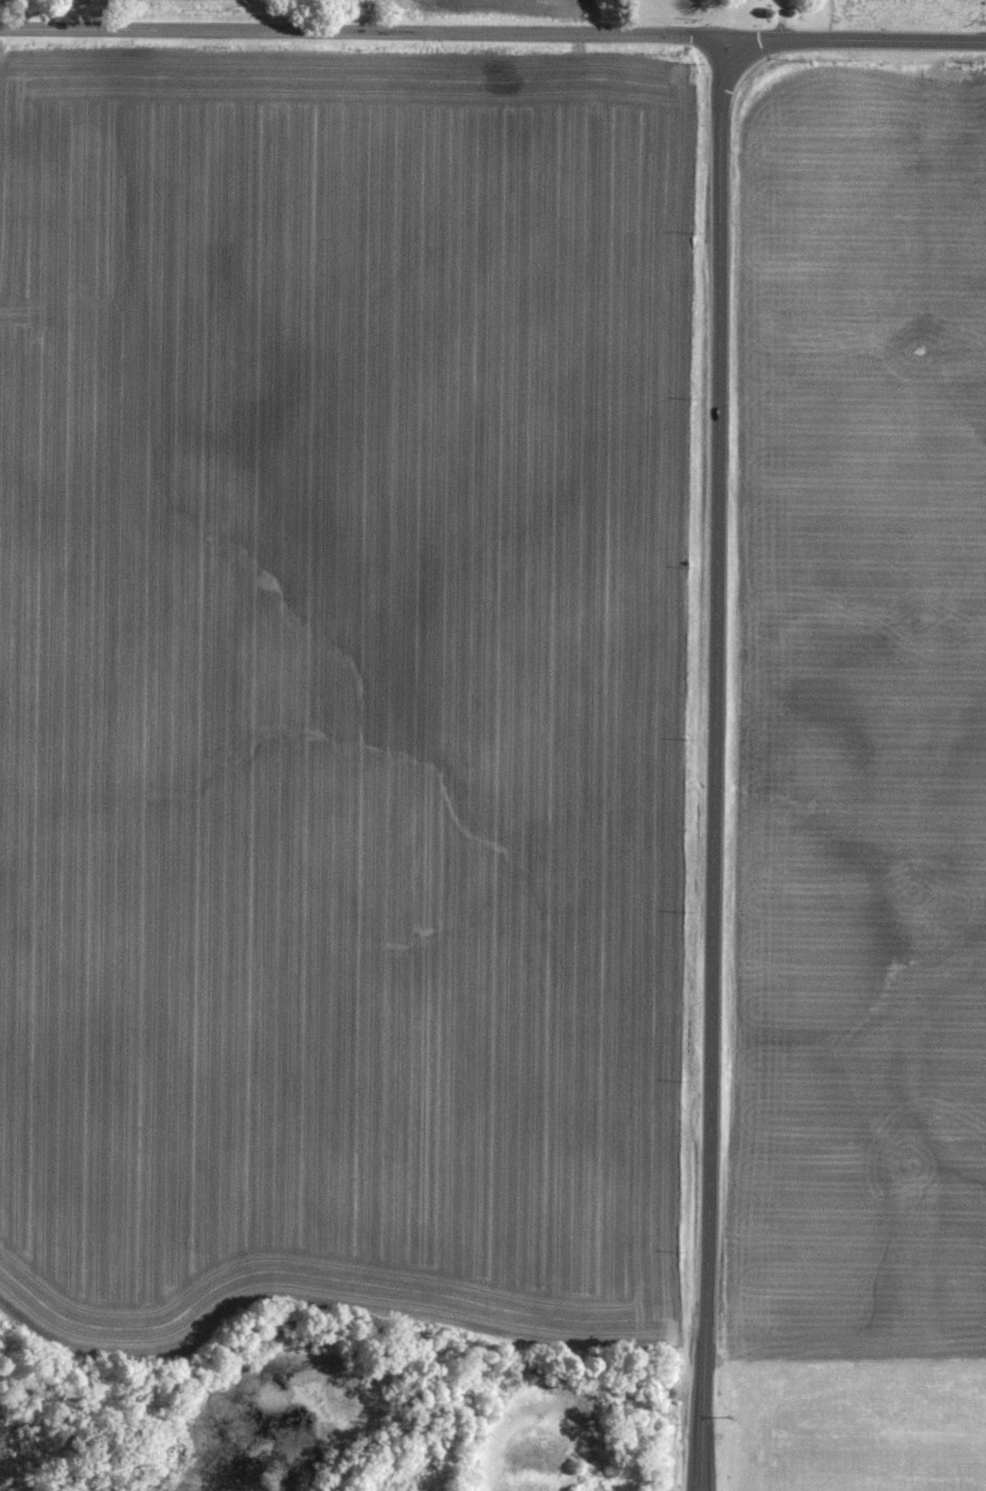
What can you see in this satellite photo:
road: (781, 19)
road: (360, 28)
road: (852, 39)
road: (710, 761)

